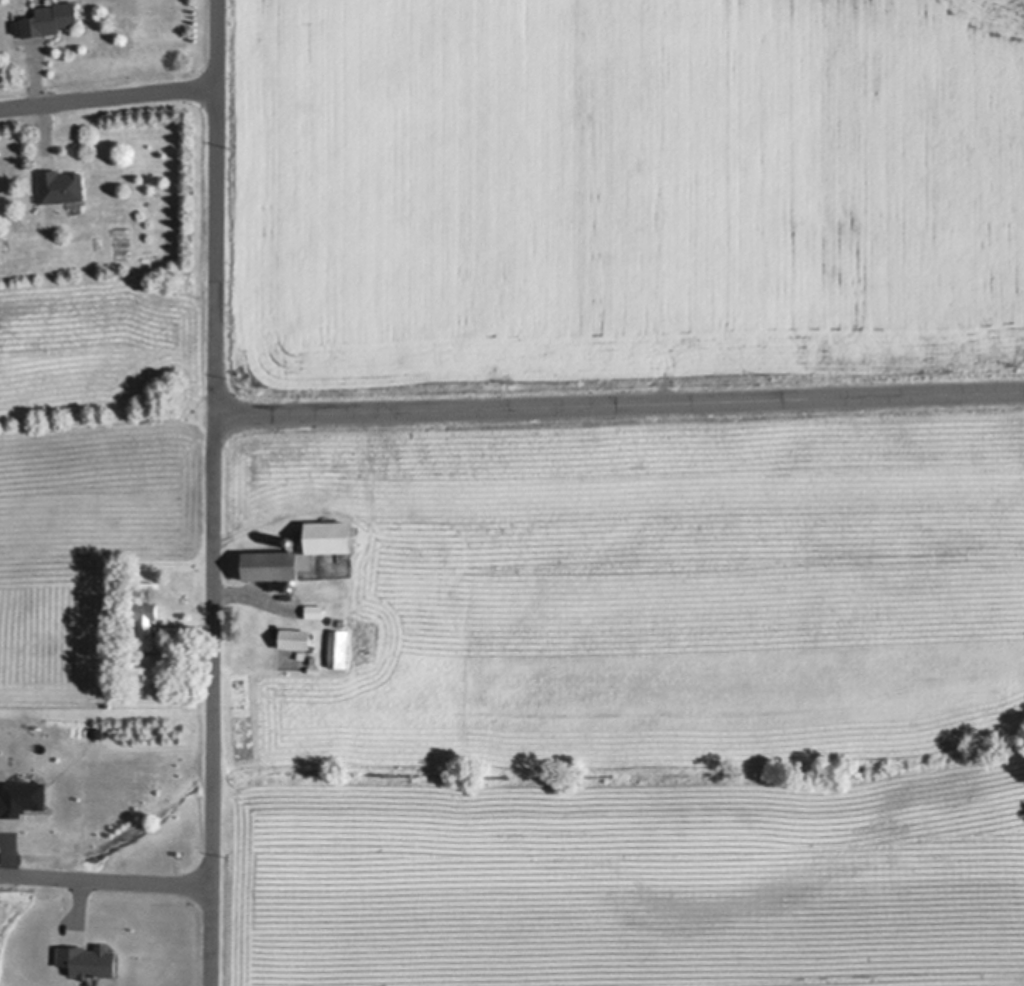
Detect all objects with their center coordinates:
building: (51, 18)
building: (17, 35)
road: (108, 94)
building: (61, 185)
road: (620, 401)
road: (216, 493)
building: (291, 540)
building: (299, 551)
building: (293, 586)
building: (315, 610)
building: (340, 621)
building: (146, 622)
building: (296, 637)
building: (339, 647)
building: (167, 659)
building: (315, 669)
building: (25, 799)
road: (106, 882)
building: (93, 962)

